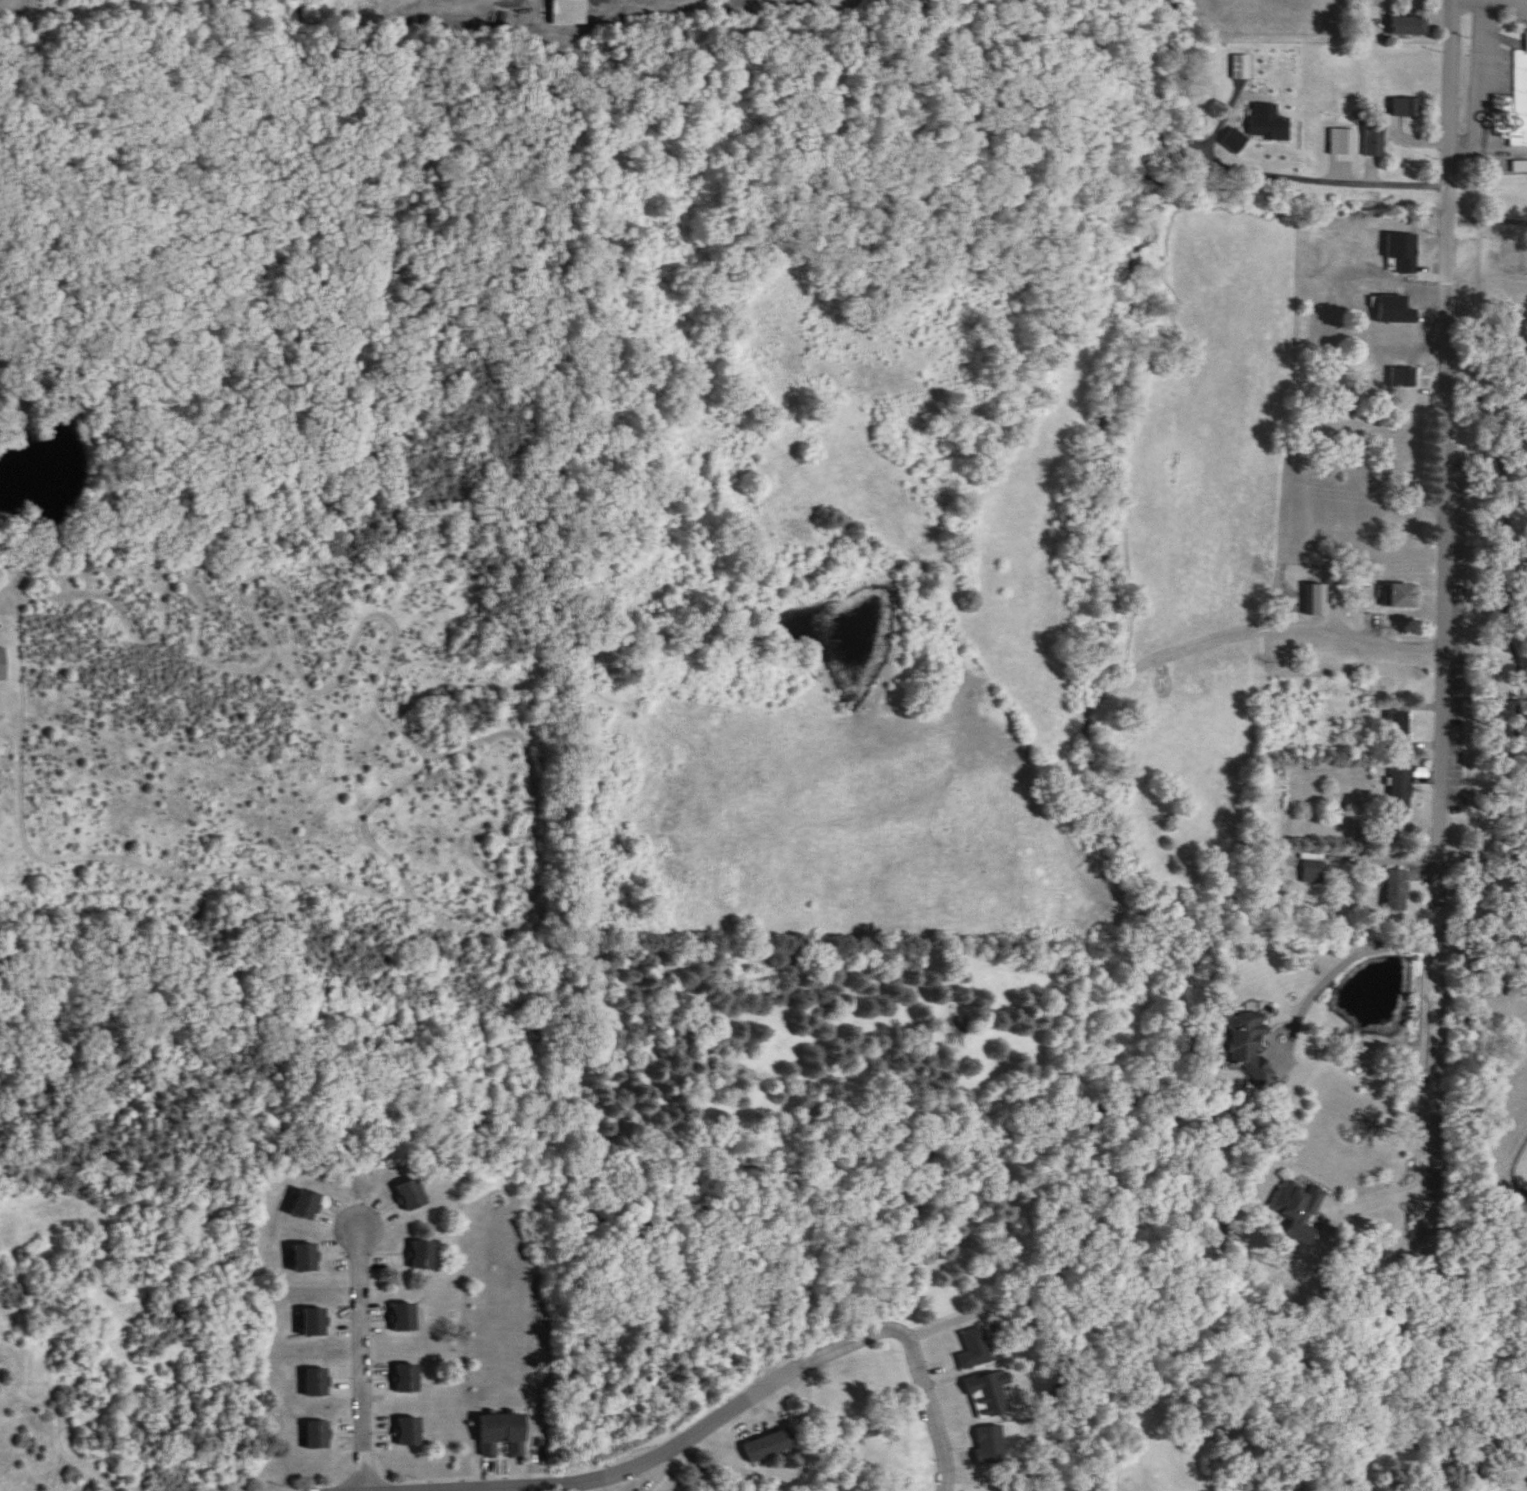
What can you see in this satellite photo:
building: (568, 12)
building: (1411, 26)
parking lot: (1494, 55)
building: (1243, 66)
building: (1520, 98)
water park: (1513, 99)
building: (1411, 107)
building: (1269, 127)
building: (1199, 130)
building: (1376, 137)
park: (1488, 152)
road: (1325, 165)
building: (1520, 166)
park: (1520, 245)
building: (1394, 264)
building: (1404, 379)
road: (1496, 558)
building: (1401, 597)
building: (1317, 600)
road: (1447, 608)
road: (1303, 614)
building: (2, 666)
road: (1486, 685)
building: (1398, 730)
building: (1401, 791)
road: (1484, 797)
road: (1367, 847)
building: (1315, 871)
building: (1397, 890)
park: (1481, 894)
road: (1352, 957)
building: (1249, 1045)
road: (1515, 1172)
road: (1377, 1189)
building: (411, 1196)
building: (1295, 1205)
building: (306, 1206)
building: (424, 1256)
building: (306, 1259)
building: (405, 1318)
building: (315, 1322)
building: (975, 1350)
road: (361, 1354)
road: (799, 1366)
building: (409, 1379)
building: (317, 1382)
building: (411, 1432)
building: (318, 1435)
building: (503, 1435)
building: (771, 1444)
road: (497, 1486)
road: (422, 1489)

